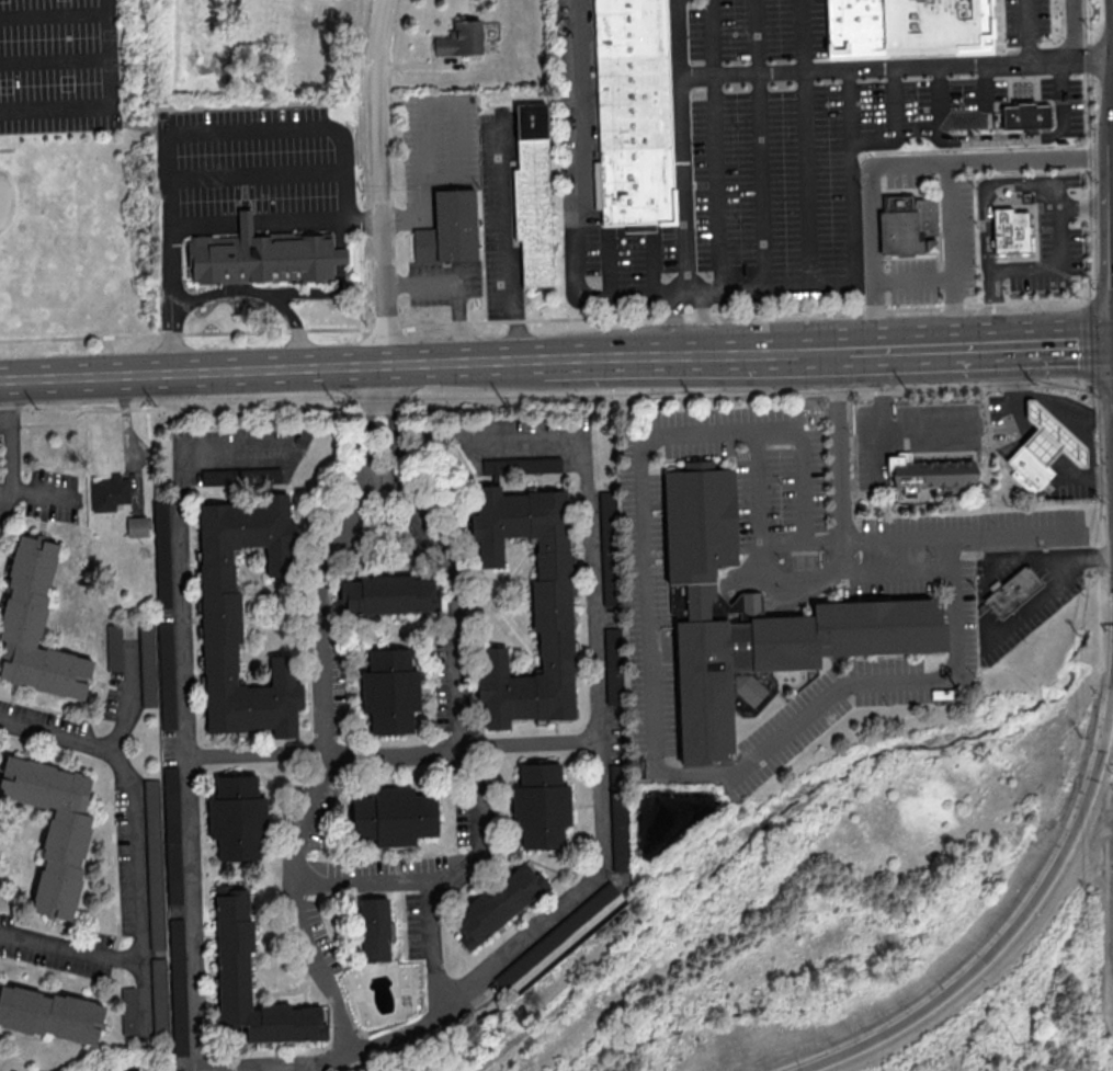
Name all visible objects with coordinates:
road: (53, 16)
parking lot: (1023, 21)
building: (908, 25)
road: (1071, 25)
road: (1026, 32)
building: (459, 38)
road: (54, 59)
road: (898, 68)
road: (1084, 73)
parking lot: (568, 76)
road: (593, 80)
parking lot: (1004, 88)
road: (958, 102)
road: (923, 103)
road: (879, 105)
road: (109, 109)
building: (632, 111)
building: (1025, 116)
road: (133, 126)
road: (243, 126)
road: (1046, 135)
road: (905, 139)
road: (758, 145)
road: (804, 145)
road: (682, 146)
road: (716, 146)
road: (1088, 152)
parking lot: (777, 159)
road: (899, 161)
road: (257, 174)
road: (424, 180)
road: (852, 180)
road: (382, 182)
road: (983, 193)
road: (862, 196)
building: (534, 197)
road: (579, 201)
road: (1083, 208)
road: (317, 221)
road: (246, 225)
building: (909, 227)
parking lot: (959, 227)
park: (41, 229)
building: (451, 230)
building: (1013, 233)
road: (504, 241)
road: (953, 252)
parking lot: (1047, 252)
road: (1055, 255)
building: (264, 259)
road: (609, 264)
road: (647, 266)
road: (171, 270)
road: (1071, 275)
road: (915, 281)
road: (866, 288)
road: (454, 290)
road: (771, 290)
road: (260, 293)
road: (685, 294)
road: (1097, 299)
road: (990, 307)
road: (540, 320)
road: (699, 329)
road: (677, 331)
road: (1052, 341)
road: (1083, 342)
road: (919, 346)
road: (824, 350)
road: (771, 352)
road: (644, 356)
road: (272, 371)
road: (1098, 384)
road: (537, 398)
road: (1042, 399)
road: (381, 417)
road: (886, 431)
road: (1098, 431)
building: (1052, 437)
road: (10, 438)
road: (1089, 459)
building: (538, 464)
building: (495, 465)
building: (1031, 470)
building: (931, 475)
road: (0, 490)
road: (0, 492)
building: (109, 492)
road: (38, 495)
building: (137, 526)
road: (1011, 533)
road: (759, 544)
road: (782, 544)
building: (161, 552)
road: (1024, 557)
road: (885, 570)
road: (1045, 589)
building: (1013, 591)
building: (386, 594)
building: (550, 604)
building: (219, 608)
building: (754, 615)
building: (35, 625)
building: (113, 646)
building: (611, 648)
building: (147, 664)
building: (166, 675)
road: (458, 679)
road: (129, 687)
building: (389, 690)
road: (76, 740)
road: (599, 743)
road: (393, 756)
road: (323, 760)
road: (707, 775)
road: (188, 776)
building: (540, 805)
building: (394, 816)
building: (237, 818)
building: (53, 828)
building: (618, 832)
building: (171, 834)
building: (154, 864)
road: (363, 879)
building: (497, 903)
road: (1105, 909)
road: (140, 912)
road: (1018, 922)
building: (376, 930)
building: (555, 934)
road: (434, 946)
road: (70, 950)
building: (232, 978)
building: (178, 985)
building: (159, 995)
building: (127, 1010)
building: (49, 1014)

